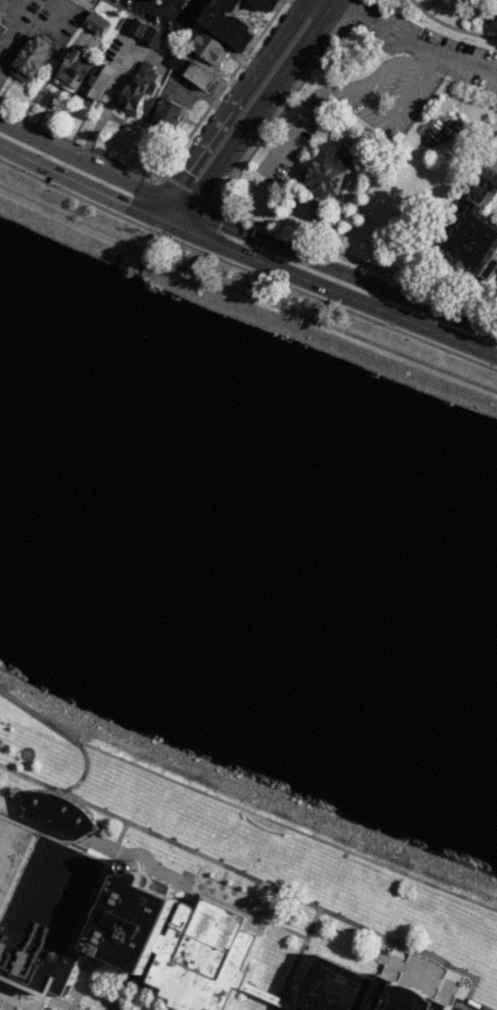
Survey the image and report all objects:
building: (159, 0)
road: (333, 0)
road: (334, 0)
building: (155, 1)
building: (263, 4)
road: (158, 7)
building: (374, 9)
road: (358, 14)
park: (452, 18)
street lamp: (426, 20)
building: (96, 23)
road: (16, 24)
building: (225, 24)
road: (396, 24)
road: (449, 26)
building: (137, 28)
building: (1, 29)
building: (152, 38)
street lamp: (471, 38)
building: (209, 49)
road: (447, 58)
building: (30, 59)
parking lot: (464, 60)
building: (72, 72)
building: (199, 76)
building: (96, 83)
road: (247, 85)
building: (136, 88)
street lamp: (303, 88)
parking lot: (392, 93)
road: (371, 103)
road: (258, 105)
road: (106, 107)
building: (166, 115)
road: (300, 116)
street lamp: (264, 144)
parking lot: (287, 146)
parking lot: (488, 155)
road: (493, 158)
road: (35, 161)
road: (174, 163)
road: (91, 169)
traffic signals: (185, 171)
building: (326, 173)
road: (100, 186)
road: (190, 190)
road: (170, 191)
traffic signals: (129, 200)
street lamp: (221, 204)
road: (142, 206)
road: (181, 216)
road: (201, 218)
road: (238, 218)
road: (311, 219)
road: (162, 224)
traffic signals: (219, 225)
building: (472, 232)
road: (208, 234)
road: (274, 267)
road: (246, 270)
road: (358, 279)
road: (444, 283)
road: (246, 295)
road: (393, 315)
street lamp: (391, 324)
river: (248, 531)
road: (65, 733)
park: (37, 749)
road: (11, 813)
building: (56, 815)
road: (286, 826)
park: (302, 867)
road: (250, 878)
building: (43, 906)
building: (131, 919)
road: (379, 946)
road: (299, 953)
building: (203, 957)
road: (88, 973)
road: (452, 981)
road: (17, 985)
road: (16, 986)
road: (124, 990)
building: (360, 991)
road: (40, 996)
building: (270, 997)
road: (10, 1000)
road: (278, 1000)
road: (60, 1005)
road: (275, 1007)
road: (469, 1007)

